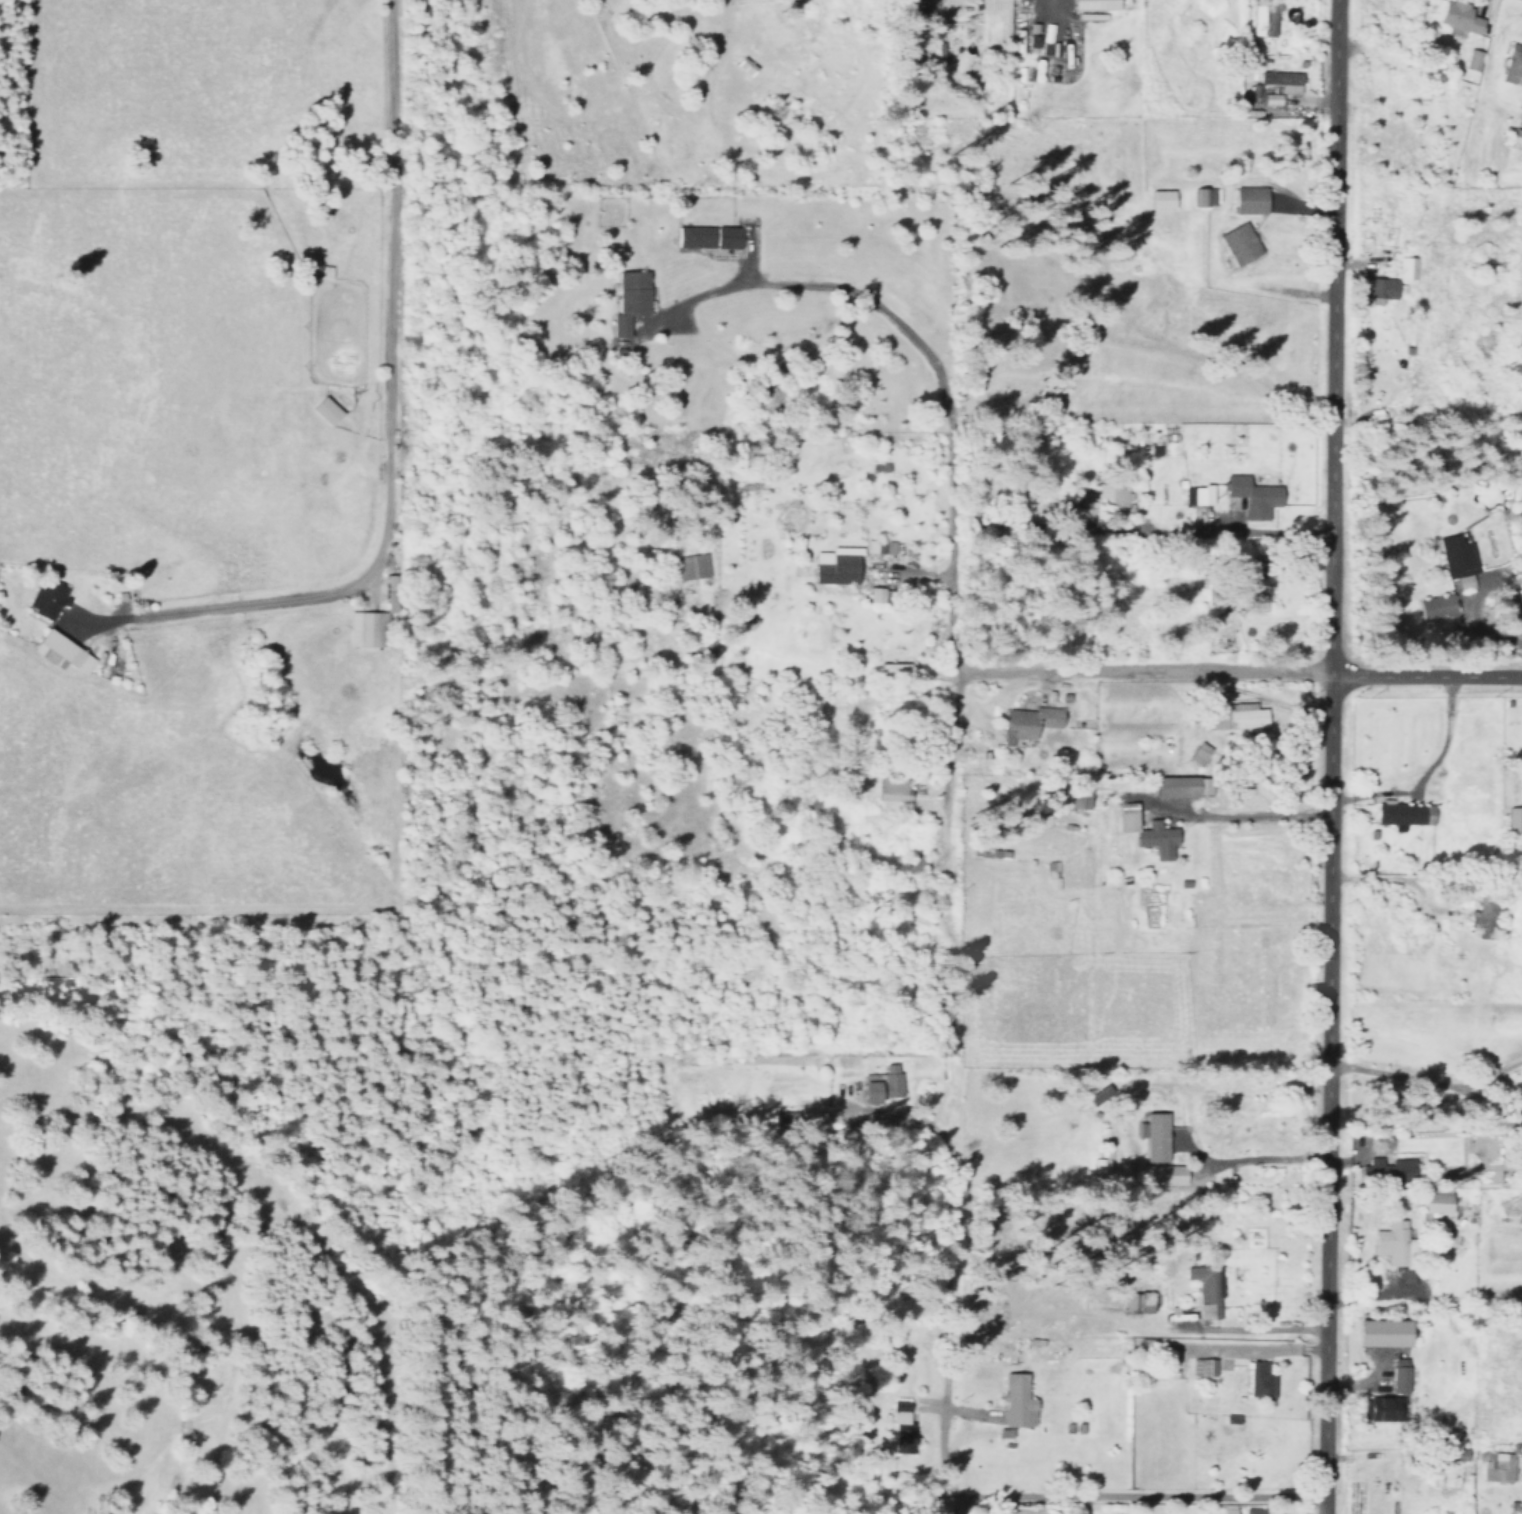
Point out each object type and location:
building: (1092, 4)
building: (1263, 17)
building: (1457, 18)
building: (1033, 43)
building: (1472, 60)
building: (1512, 63)
building: (1281, 80)
building: (1269, 98)
building: (1515, 138)
building: (1201, 196)
building: (1159, 199)
building: (1248, 199)
building: (704, 237)
building: (1237, 243)
building: (1406, 267)
building: (1382, 290)
building: (636, 308)
road: (901, 325)
building: (323, 410)
crop: (194, 456)
building: (1197, 495)
building: (1105, 496)
building: (1251, 496)
building: (789, 503)
road: (1230, 529)
building: (877, 546)
building: (1456, 560)
building: (689, 565)
road: (900, 568)
building: (833, 569)
building: (871, 594)
building: (45, 600)
road: (1465, 604)
building: (1434, 607)
building: (364, 627)
building: (58, 652)
building: (891, 668)
road: (1085, 672)
road: (1427, 676)
building: (1242, 716)
building: (1027, 722)
building: (1198, 753)
road: (1332, 757)
road: (1420, 763)
road: (946, 764)
crop: (1467, 774)
building: (891, 789)
building: (1171, 800)
building: (1401, 811)
building: (1126, 817)
building: (1513, 817)
building: (1155, 839)
road: (1426, 878)
building: (1463, 886)
building: (1487, 918)
crop: (1146, 962)
road: (1429, 1081)
building: (877, 1084)
building: (1155, 1144)
road: (1247, 1159)
building: (1387, 1168)
building: (1431, 1204)
building: (1391, 1241)
road: (941, 1264)
building: (1207, 1291)
building: (1380, 1332)
building: (1202, 1367)
building: (1398, 1375)
building: (1259, 1379)
building: (1015, 1402)
building: (1381, 1408)
building: (899, 1426)
building: (1497, 1465)
road: (1123, 1496)
building: (1227, 1508)
building: (1253, 1511)

